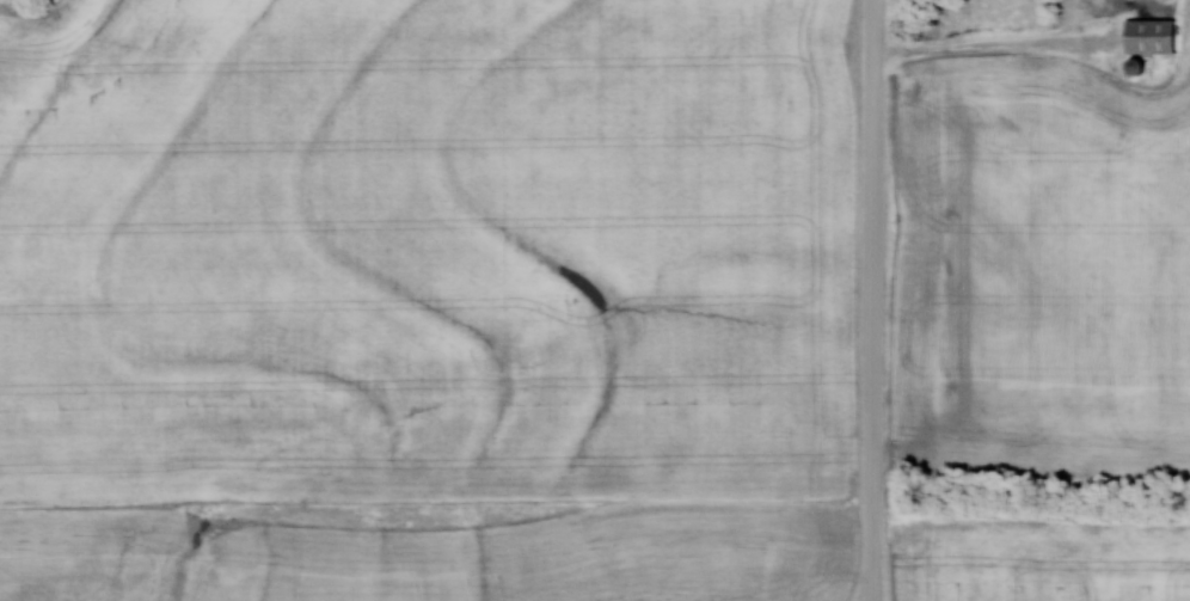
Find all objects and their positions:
building: (1145, 35)
road: (993, 54)
road: (877, 300)

